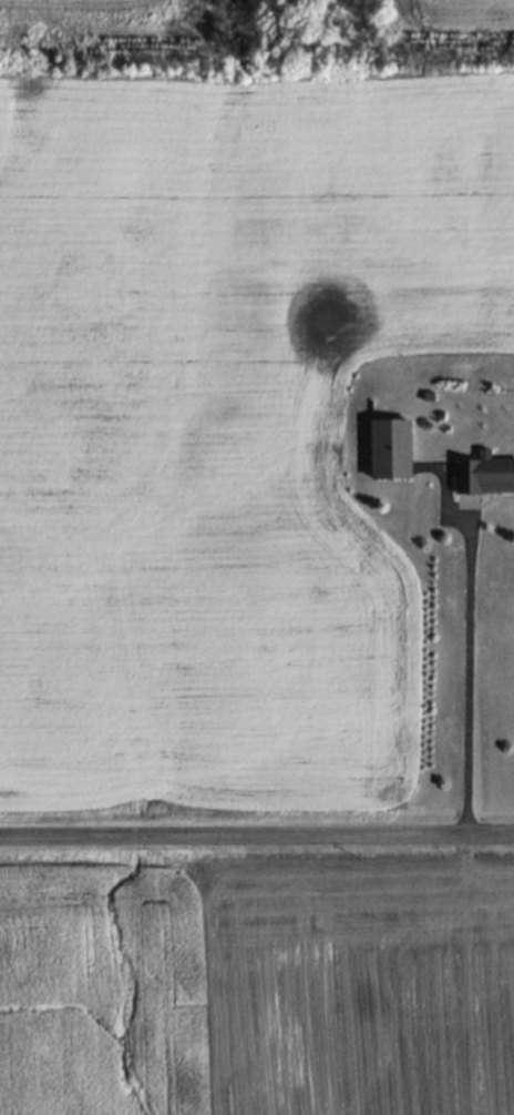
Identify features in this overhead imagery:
road: (71, 2)
building: (390, 448)
building: (484, 475)
road: (465, 669)
road: (256, 835)
crop: (257, 979)

